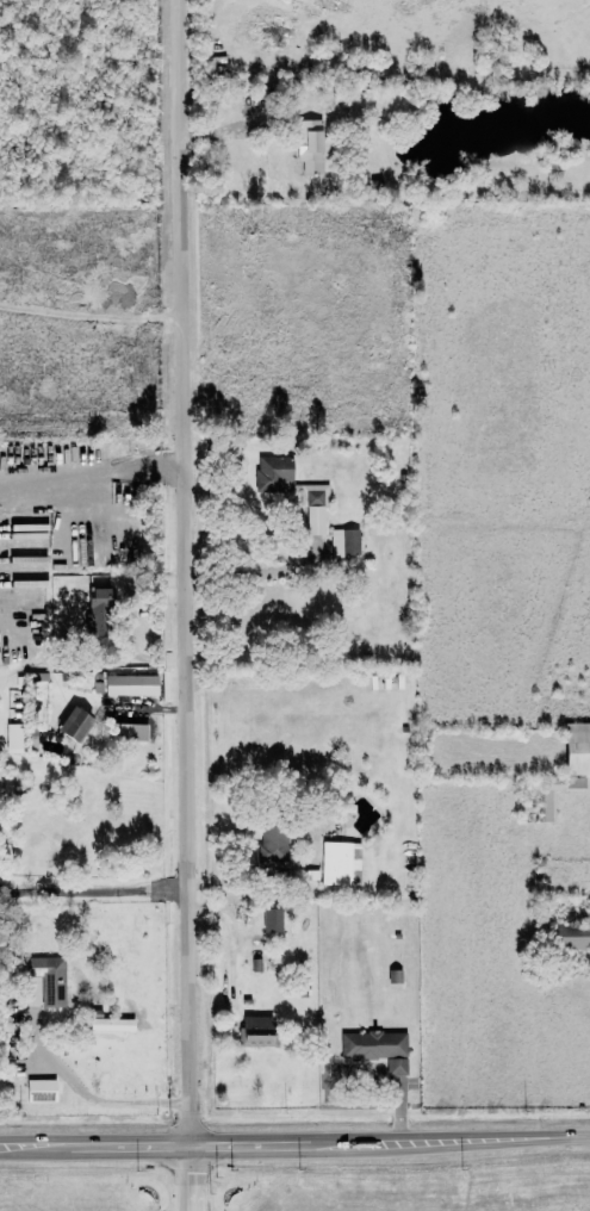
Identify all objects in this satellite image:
building: (310, 147)
building: (269, 472)
road: (88, 482)
building: (344, 544)
road: (182, 569)
road: (249, 576)
building: (99, 611)
building: (131, 685)
building: (74, 724)
building: (129, 733)
building: (31, 735)
building: (14, 738)
building: (577, 750)
building: (575, 783)
building: (549, 797)
building: (274, 839)
building: (340, 864)
road: (93, 890)
road: (229, 932)
building: (573, 936)
building: (45, 977)
building: (111, 1025)
building: (257, 1031)
building: (377, 1049)
building: (41, 1091)
road: (74, 1101)
road: (294, 1137)
road: (191, 1174)
road: (536, 1196)

